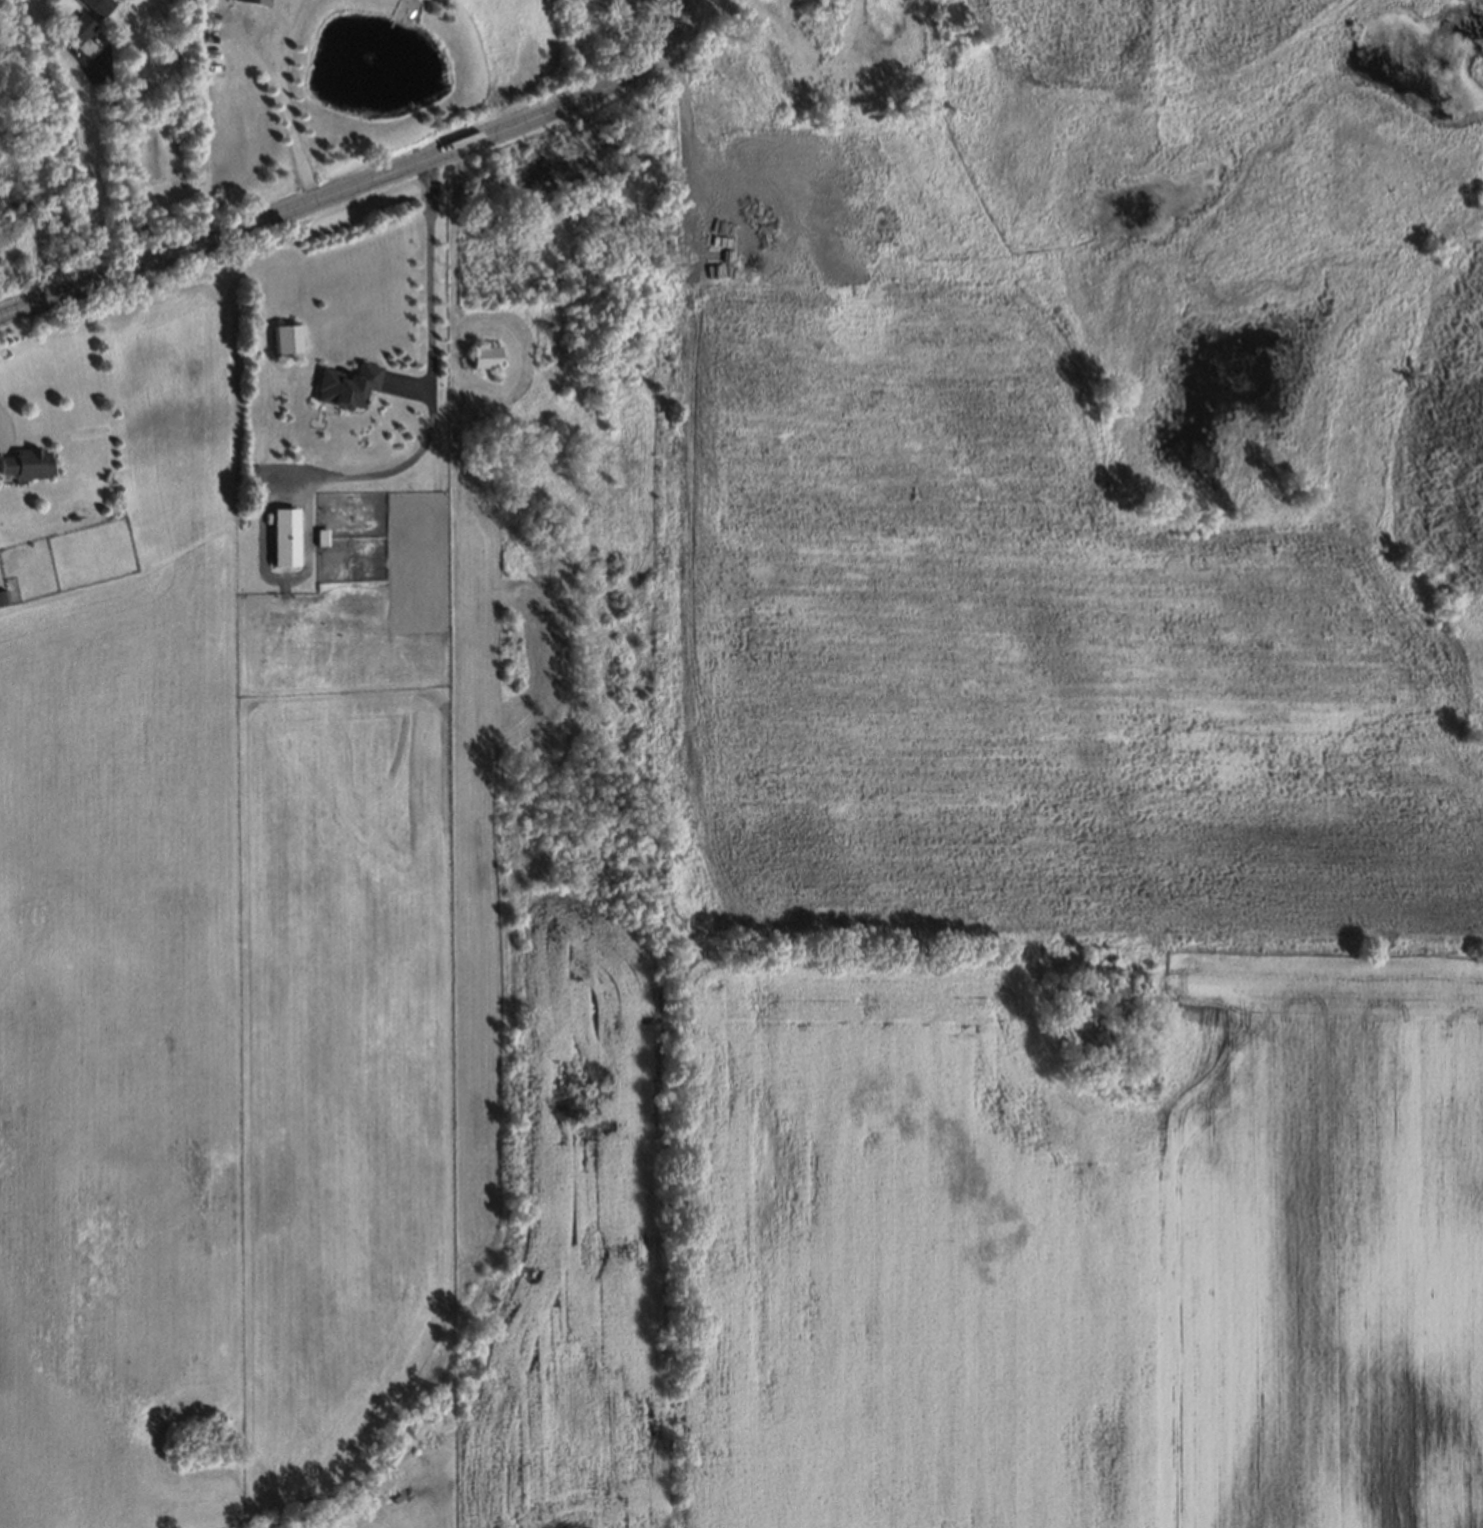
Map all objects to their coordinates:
building: (255, 1)
building: (90, 3)
building: (74, 25)
road: (670, 33)
road: (284, 113)
road: (108, 168)
road: (326, 194)
road: (425, 277)
building: (288, 339)
building: (486, 357)
building: (340, 384)
building: (22, 461)
building: (1, 594)

